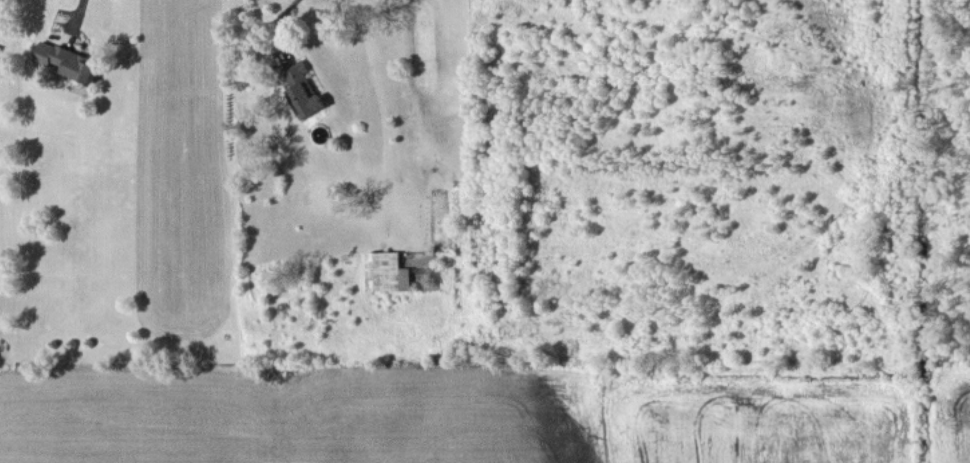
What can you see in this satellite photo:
road: (75, 12)
road: (278, 26)
building: (66, 60)
building: (304, 89)
building: (388, 271)

